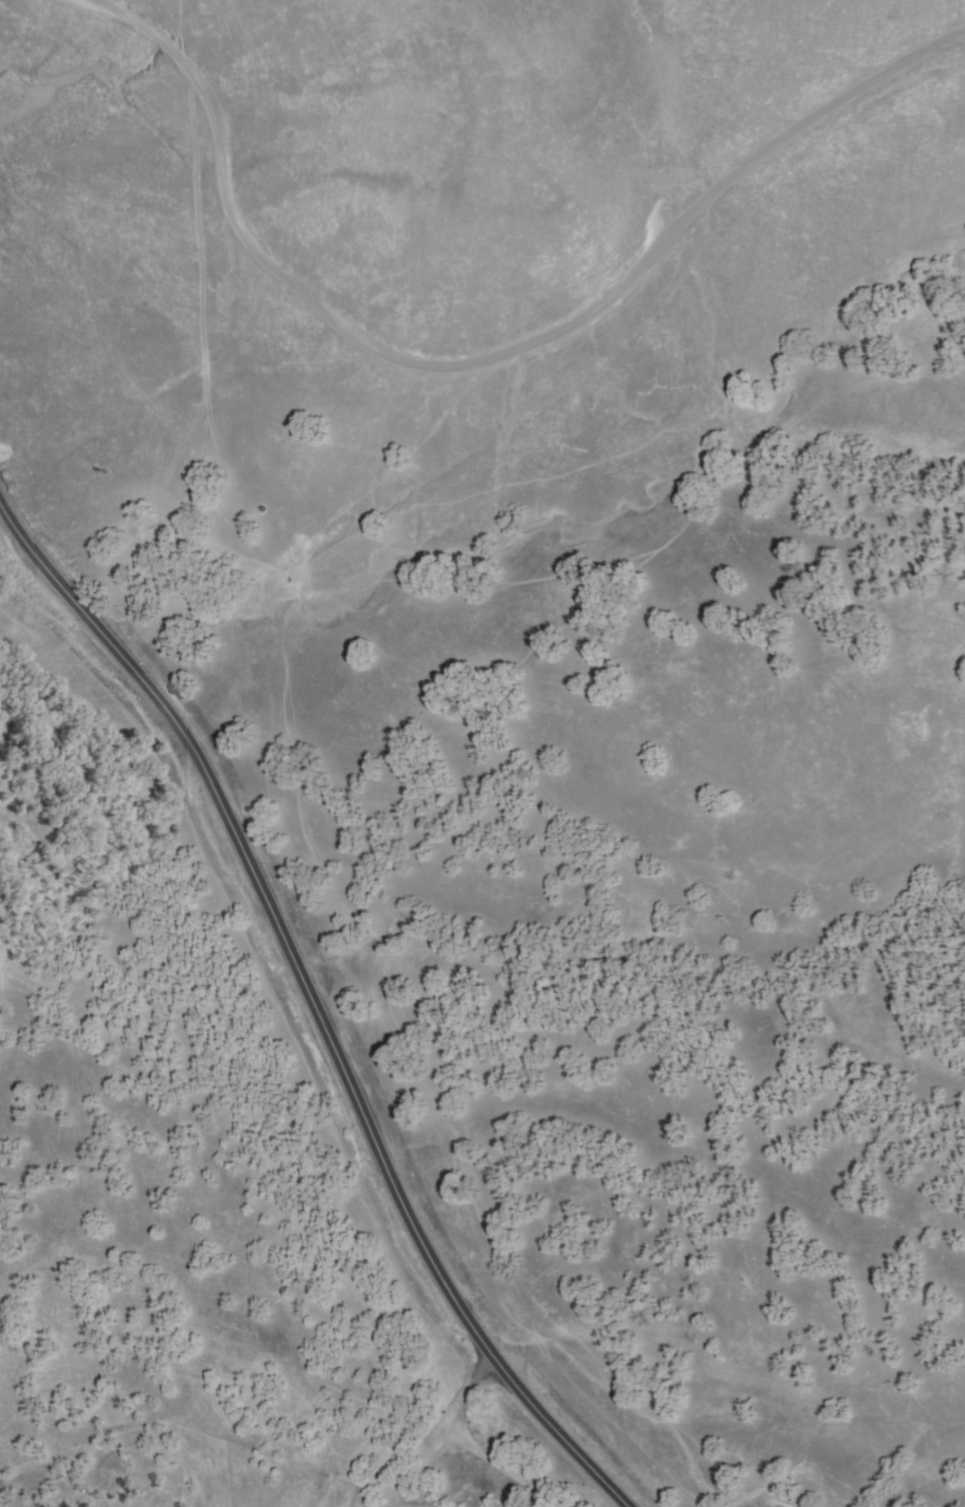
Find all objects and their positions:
road: (490, 361)
building: (171, 552)
road: (313, 1005)
road: (442, 1440)
road: (490, 1468)

